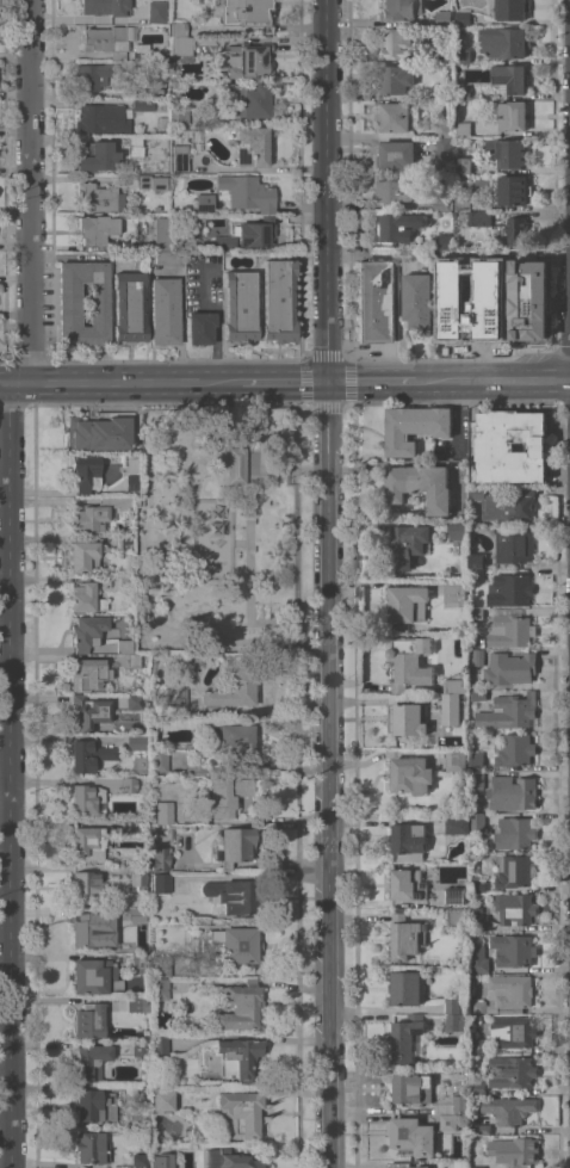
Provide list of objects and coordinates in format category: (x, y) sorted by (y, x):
building: (106, 7)
building: (398, 10)
building: (509, 10)
building: (155, 11)
building: (254, 13)
building: (442, 18)
building: (463, 18)
building: (178, 27)
building: (419, 37)
building: (107, 39)
building: (504, 42)
building: (395, 44)
building: (181, 47)
building: (140, 50)
building: (461, 54)
building: (444, 55)
building: (247, 60)
building: (93, 75)
building: (395, 79)
building: (509, 79)
building: (140, 92)
building: (444, 92)
building: (463, 92)
building: (249, 100)
building: (143, 104)
building: (182, 116)
building: (513, 116)
building: (395, 117)
building: (100, 118)
building: (444, 126)
building: (463, 129)
building: (250, 144)
building: (135, 147)
building: (444, 148)
building: (508, 153)
building: (396, 155)
building: (93, 156)
building: (180, 159)
building: (461, 165)
building: (460, 177)
building: (150, 181)
building: (397, 189)
building: (510, 190)
building: (247, 192)
building: (99, 197)
building: (441, 200)
building: (204, 202)
building: (464, 203)
building: (478, 217)
building: (401, 225)
building: (97, 228)
building: (516, 230)
building: (162, 231)
building: (246, 234)
building: (444, 241)
building: (169, 257)
building: (452, 257)
building: (489, 271)
building: (278, 299)
building: (376, 301)
building: (417, 302)
building: (529, 303)
building: (69, 304)
building: (238, 305)
building: (129, 307)
building: (451, 309)
building: (165, 310)
building: (487, 311)
building: (200, 327)
road: (492, 382)
road: (370, 383)
road: (110, 384)
road: (273, 384)
traffic signals: (326, 384)
building: (414, 427)
building: (99, 431)
building: (510, 446)
building: (235, 464)
road: (154, 469)
building: (85, 472)
building: (132, 482)
building: (420, 486)
building: (475, 494)
building: (135, 500)
building: (507, 503)
building: (97, 513)
building: (458, 530)
park: (217, 531)
road: (253, 536)
building: (123, 542)
road: (244, 544)
building: (407, 544)
building: (514, 545)
building: (85, 555)
building: (476, 575)
road: (7, 581)
building: (124, 582)
road: (326, 583)
building: (509, 589)
building: (454, 593)
building: (85, 598)
building: (407, 604)
building: (476, 613)
building: (509, 629)
building: (87, 631)
building: (477, 642)
building: (124, 645)
building: (476, 657)
building: (134, 660)
building: (409, 662)
building: (509, 668)
building: (88, 673)
building: (234, 684)
building: (453, 686)
building: (478, 694)
building: (134, 702)
building: (175, 702)
building: (450, 709)
building: (89, 711)
building: (506, 712)
building: (405, 718)
building: (233, 739)
building: (136, 742)
building: (514, 750)
building: (88, 754)
building: (454, 759)
building: (159, 760)
building: (475, 760)
building: (140, 762)
building: (410, 774)
building: (476, 779)
building: (128, 784)
building: (512, 792)
building: (227, 793)
building: (86, 798)
building: (163, 811)
road: (383, 821)
building: (477, 822)
building: (457, 826)
building: (132, 827)
building: (513, 833)
building: (408, 838)
building: (88, 842)
building: (234, 845)
building: (160, 858)
building: (514, 871)
building: (137, 873)
building: (161, 880)
building: (408, 884)
building: (476, 885)
building: (89, 886)
building: (453, 895)
building: (233, 896)
building: (514, 908)
building: (137, 914)
building: (454, 917)
building: (477, 920)
building: (88, 928)
building: (405, 937)
building: (236, 944)
building: (513, 950)
building: (478, 959)
building: (141, 963)
building: (160, 965)
building: (94, 976)
building: (407, 987)
building: (160, 988)
building: (504, 993)
building: (137, 1003)
building: (241, 1005)
building: (452, 1006)
building: (88, 1019)
building: (457, 1022)
building: (512, 1031)
building: (404, 1037)
building: (159, 1043)
building: (478, 1046)
building: (140, 1049)
building: (236, 1057)
building: (91, 1061)
building: (510, 1071)
building: (478, 1087)
building: (413, 1088)
building: (140, 1093)
building: (162, 1100)
building: (452, 1104)
building: (94, 1105)
building: (510, 1108)
building: (241, 1112)
building: (447, 1123)
building: (479, 1127)
building: (411, 1136)
building: (91, 1147)
building: (514, 1150)
building: (230, 1158)
building: (162, 1160)
building: (140, 1161)
building: (404, 1164)
building: (477, 1166)

